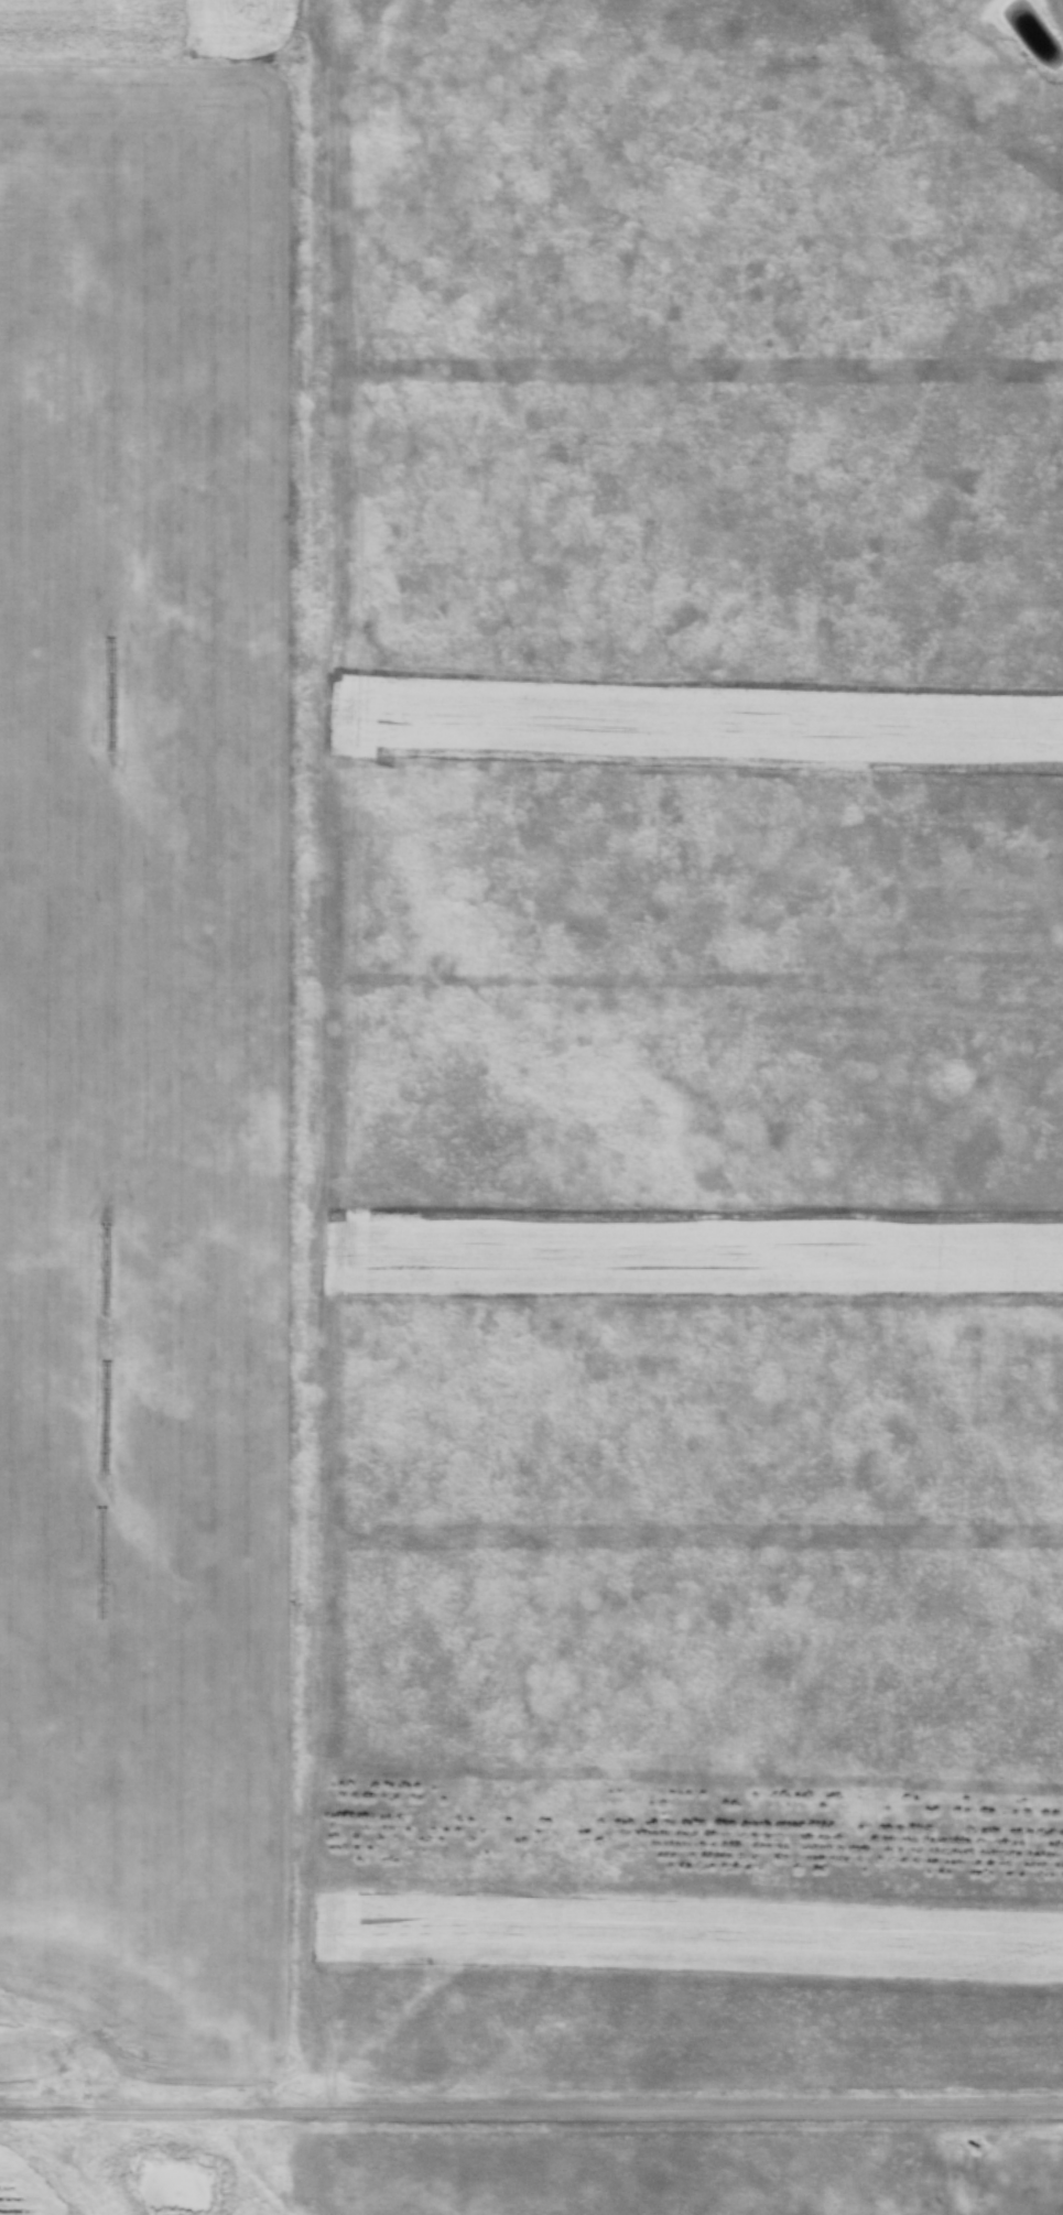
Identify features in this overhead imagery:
road: (531, 2114)

